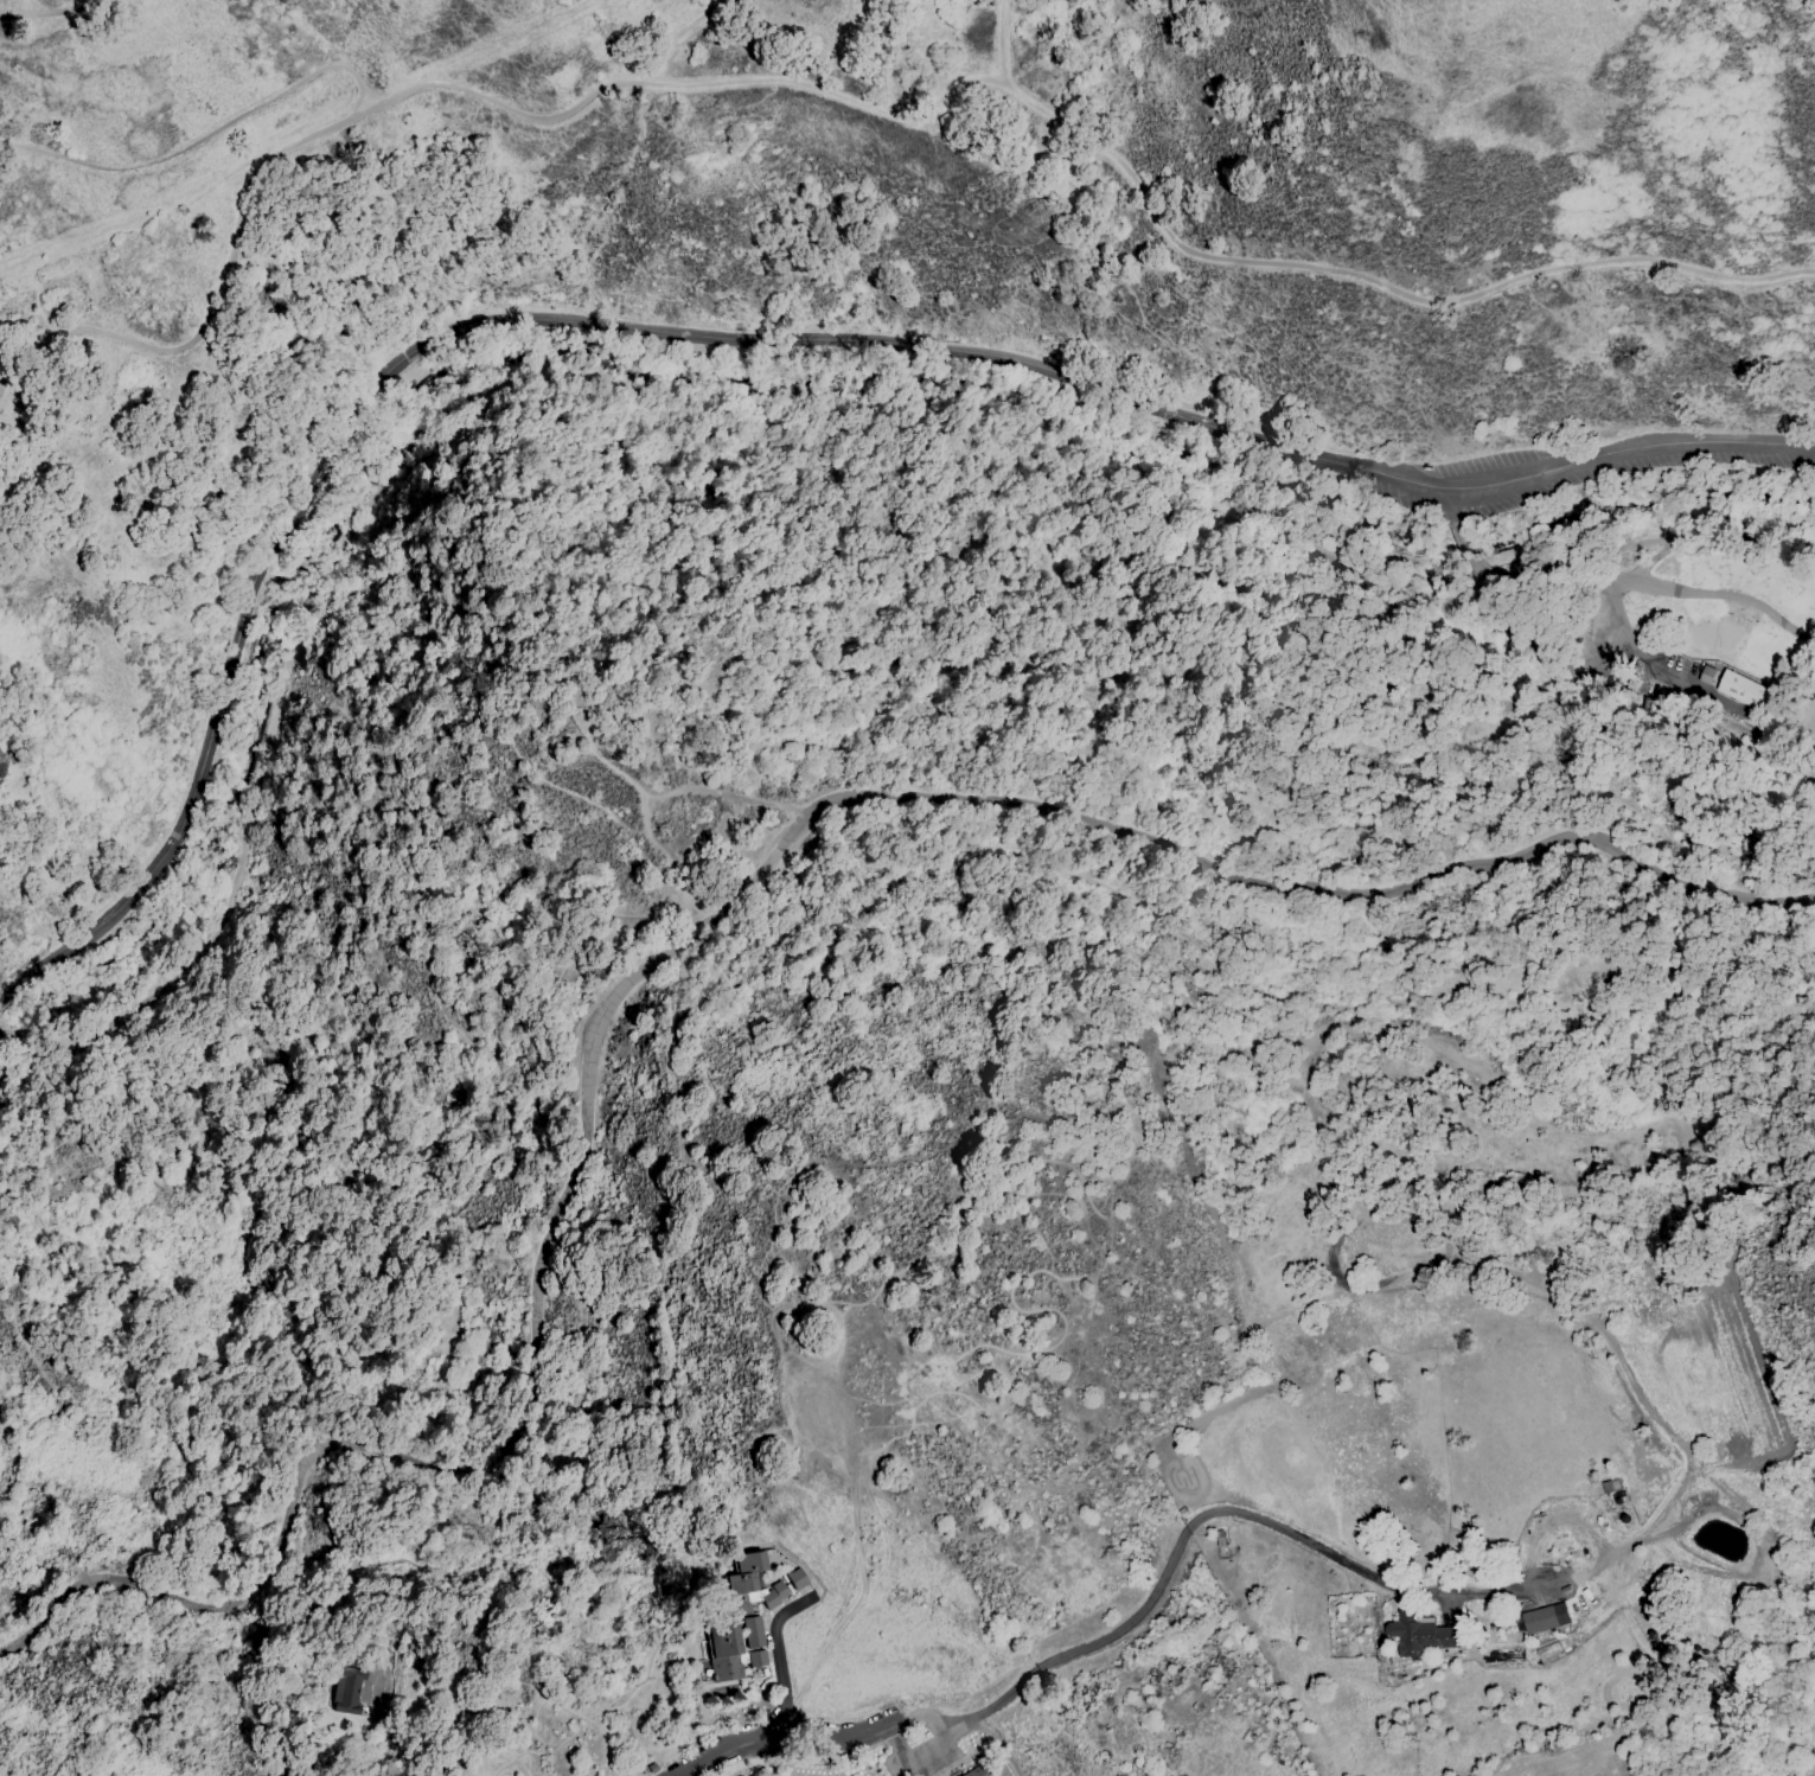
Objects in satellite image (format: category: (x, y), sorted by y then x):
road: (55, 23)
road: (683, 37)
road: (999, 43)
road: (685, 82)
road: (200, 139)
road: (1375, 283)
road: (218, 296)
road: (726, 340)
road: (759, 411)
parking lot: (1589, 469)
road: (506, 503)
road: (1453, 507)
road: (1468, 547)
road: (890, 562)
road: (1480, 574)
road: (1688, 590)
park: (1717, 639)
building: (1512, 647)
building: (1706, 675)
building: (1747, 691)
road: (1244, 699)
building: (1647, 703)
park: (788, 714)
road: (726, 793)
road: (641, 813)
road: (691, 935)
road: (1302, 1005)
road: (64, 1030)
road: (31, 1073)
road: (217, 1143)
road: (378, 1199)
road: (666, 1290)
building: (750, 1563)
building: (798, 1579)
building: (741, 1584)
building: (780, 1590)
building: (768, 1598)
building: (1197, 1602)
building: (740, 1603)
building: (1169, 1616)
building: (1544, 1617)
road: (1129, 1621)
building: (752, 1624)
building: (722, 1628)
building: (1419, 1634)
building: (754, 1640)
building: (726, 1647)
road: (778, 1652)
building: (735, 1666)
building: (347, 1691)
road: (914, 1756)
road: (282, 1763)
building: (652, 1768)
building: (976, 1771)
building: (746, 1775)

